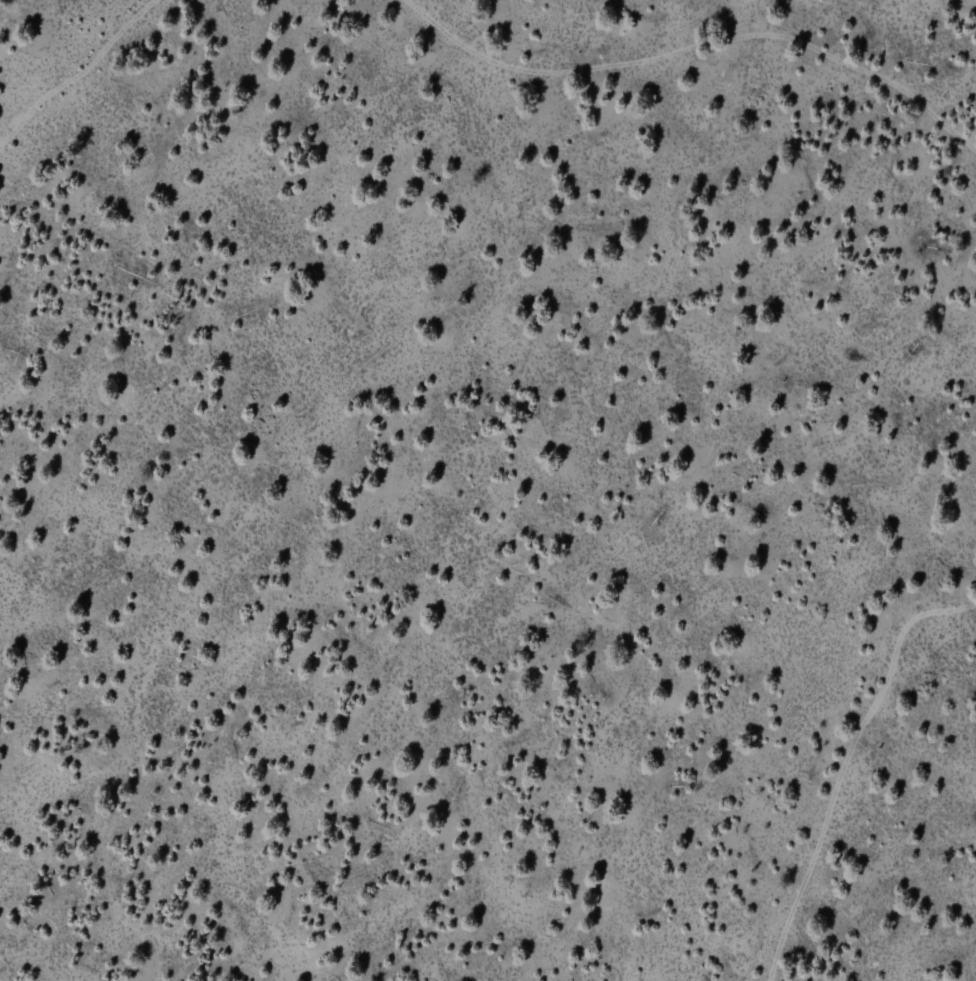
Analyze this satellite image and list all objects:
road: (701, 45)
road: (78, 75)
road: (858, 771)

